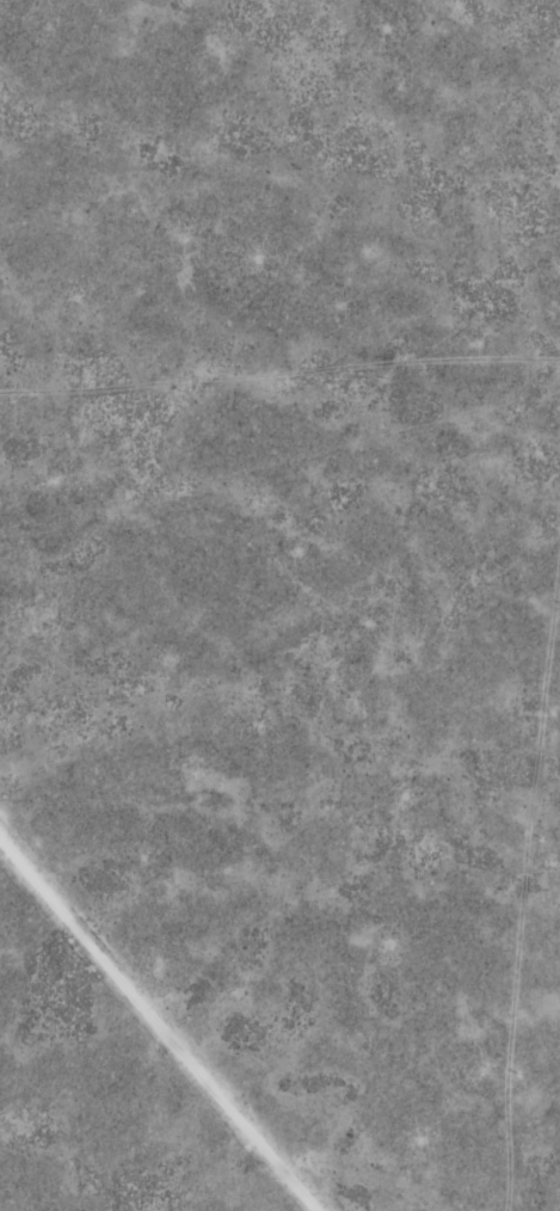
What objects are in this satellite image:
road: (166, 1022)

